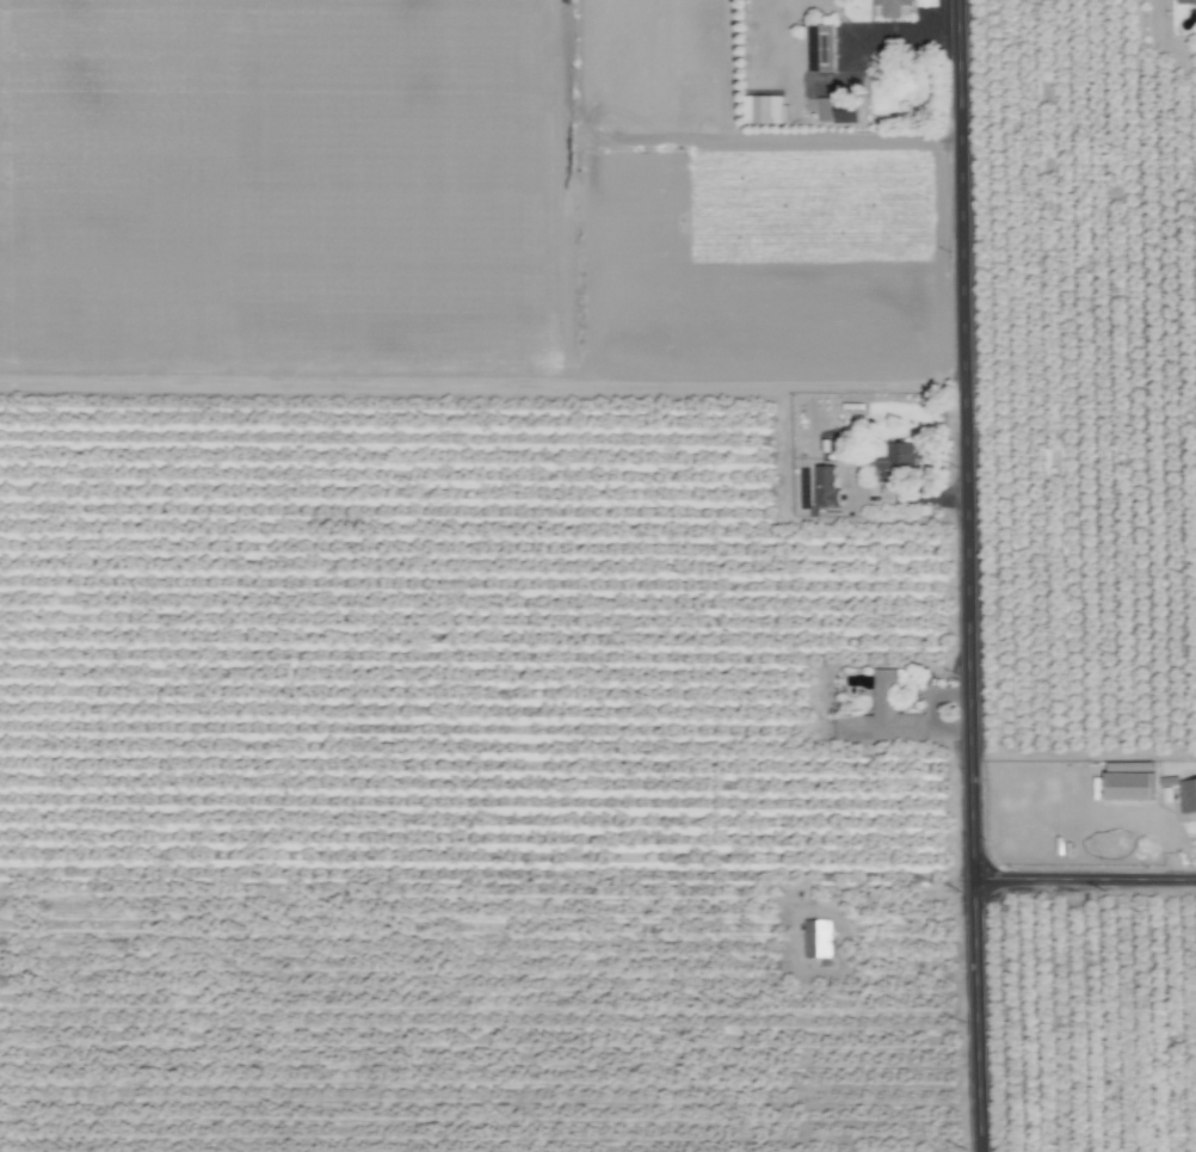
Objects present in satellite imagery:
building: (1184, 1)
building: (889, 8)
building: (822, 50)
building: (831, 111)
building: (902, 462)
building: (827, 486)
road: (970, 575)
building: (883, 716)
building: (1188, 797)
building: (1111, 817)
building: (1046, 820)
road: (1086, 883)
building: (819, 940)

